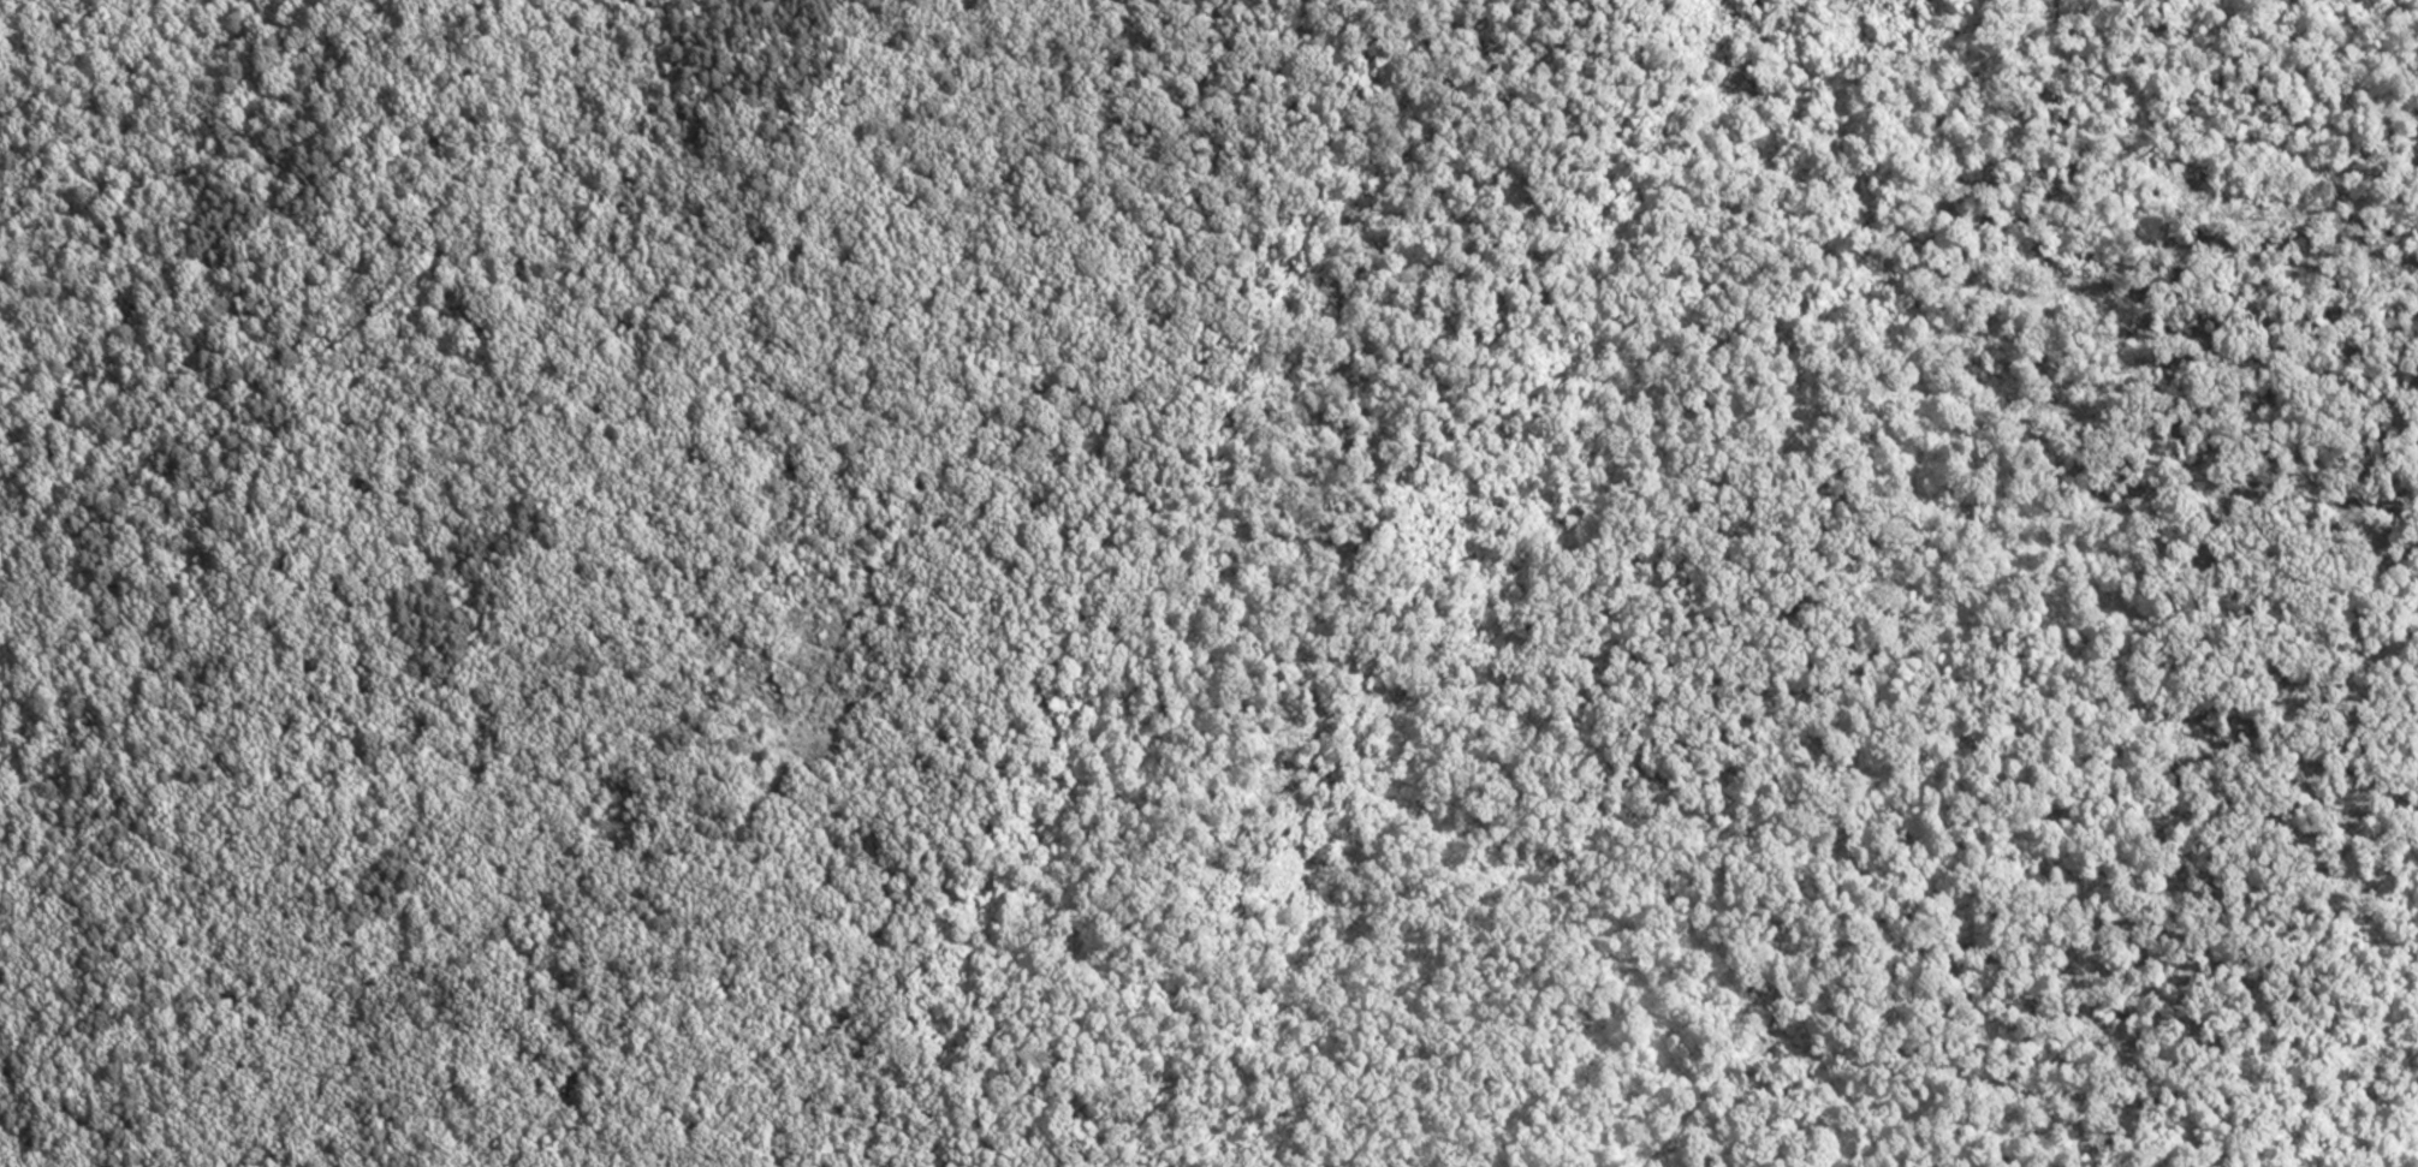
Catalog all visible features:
road: (1183, 587)

